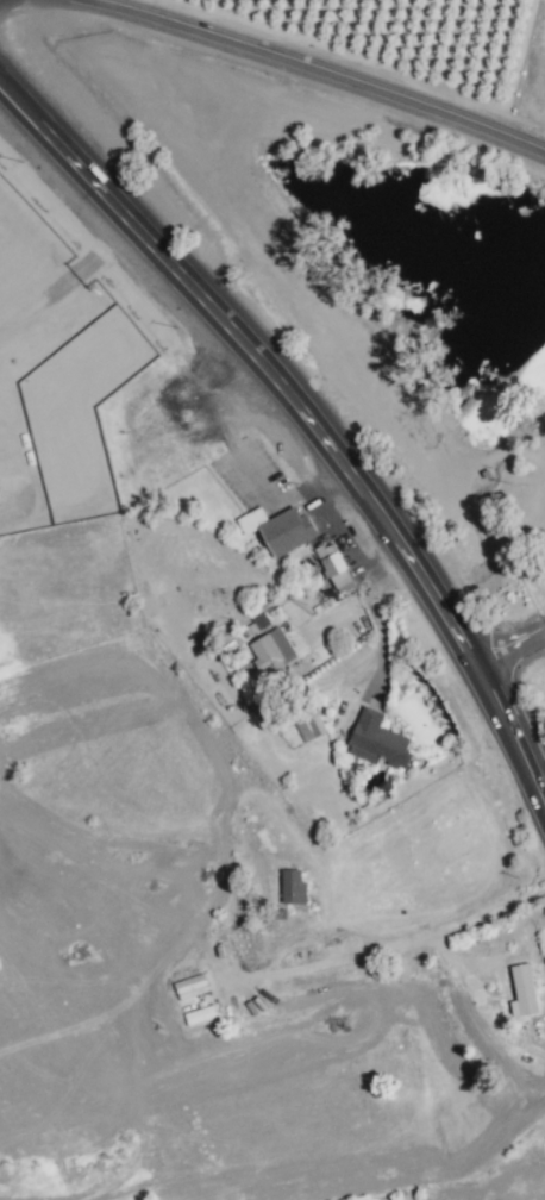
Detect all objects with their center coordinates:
crop: (405, 48)
road: (319, 76)
road: (69, 277)
railway: (309, 308)
road: (302, 424)
road: (277, 502)
road: (322, 507)
building: (277, 529)
building: (333, 568)
road: (356, 601)
building: (259, 620)
road: (544, 629)
road: (503, 648)
building: (270, 650)
building: (309, 726)
building: (376, 742)
building: (293, 887)
road: (452, 926)
building: (189, 985)
building: (524, 989)

